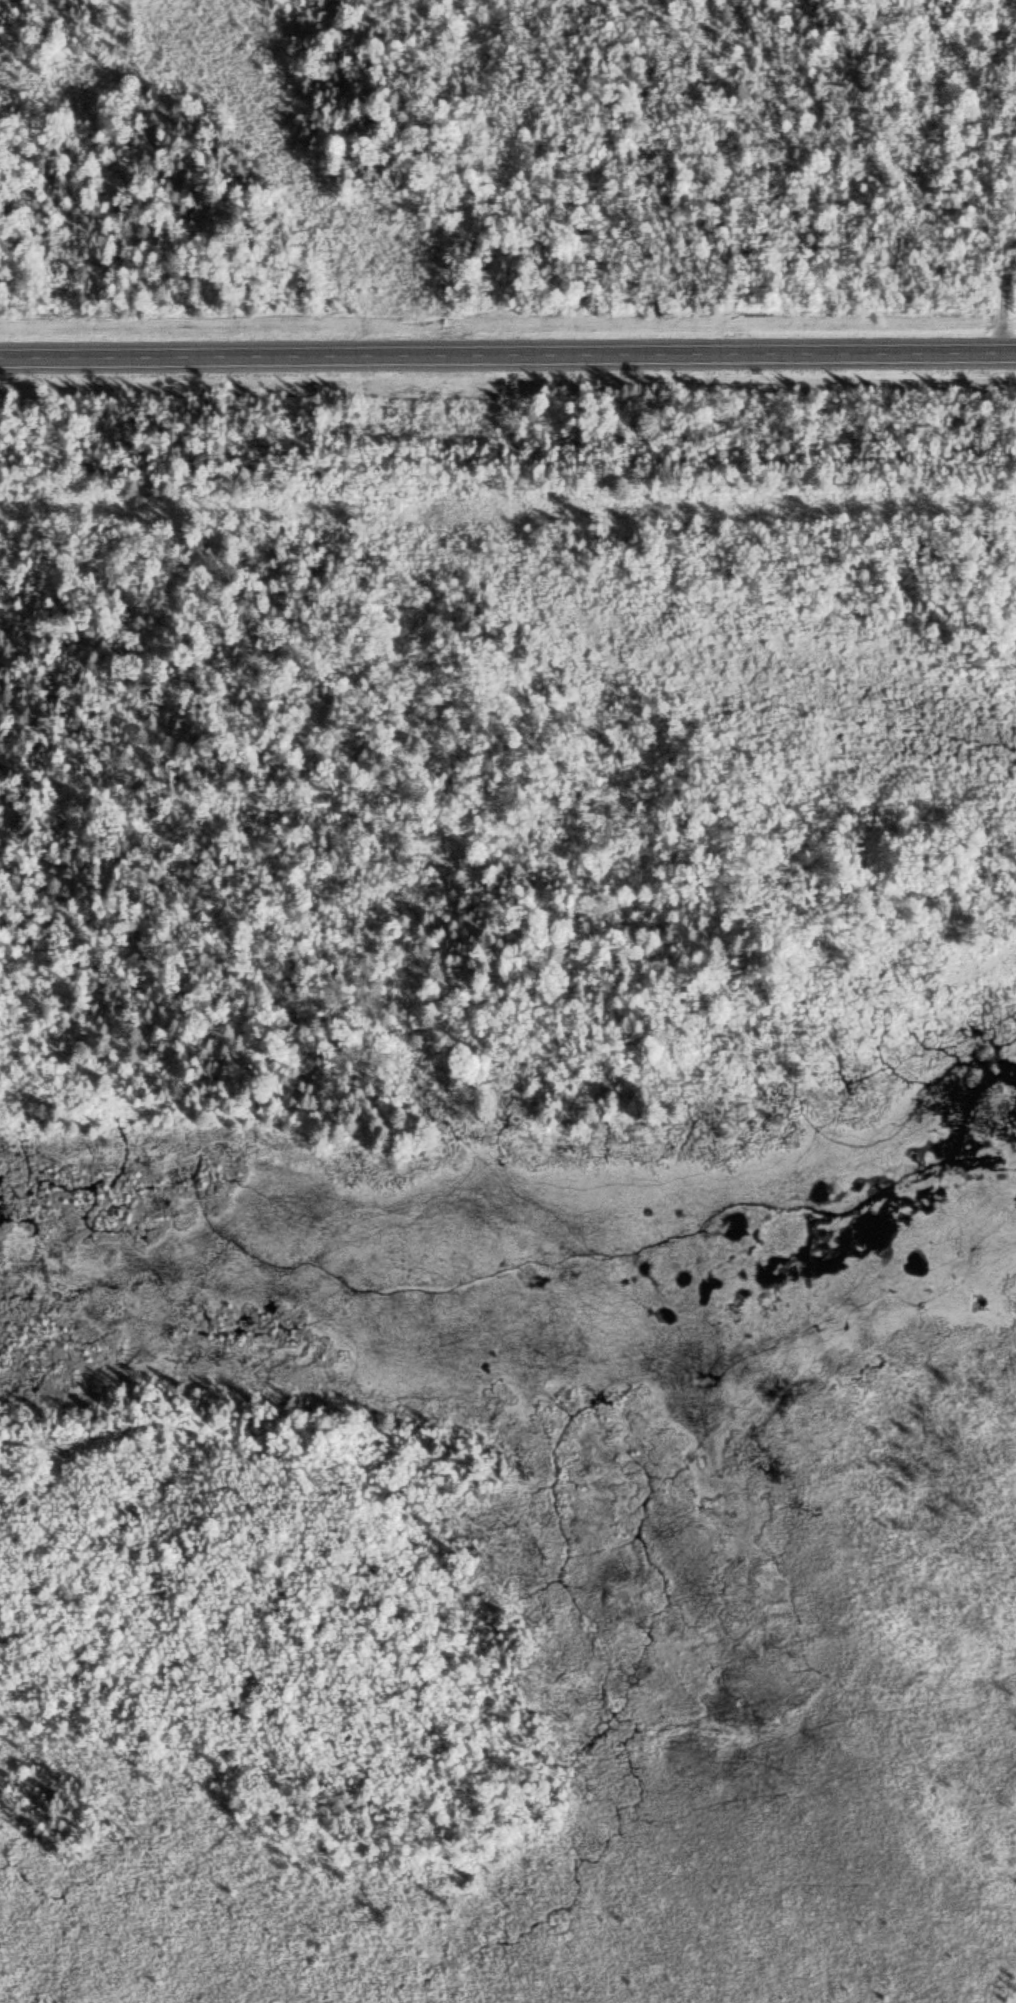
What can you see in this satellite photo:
road: (508, 351)

